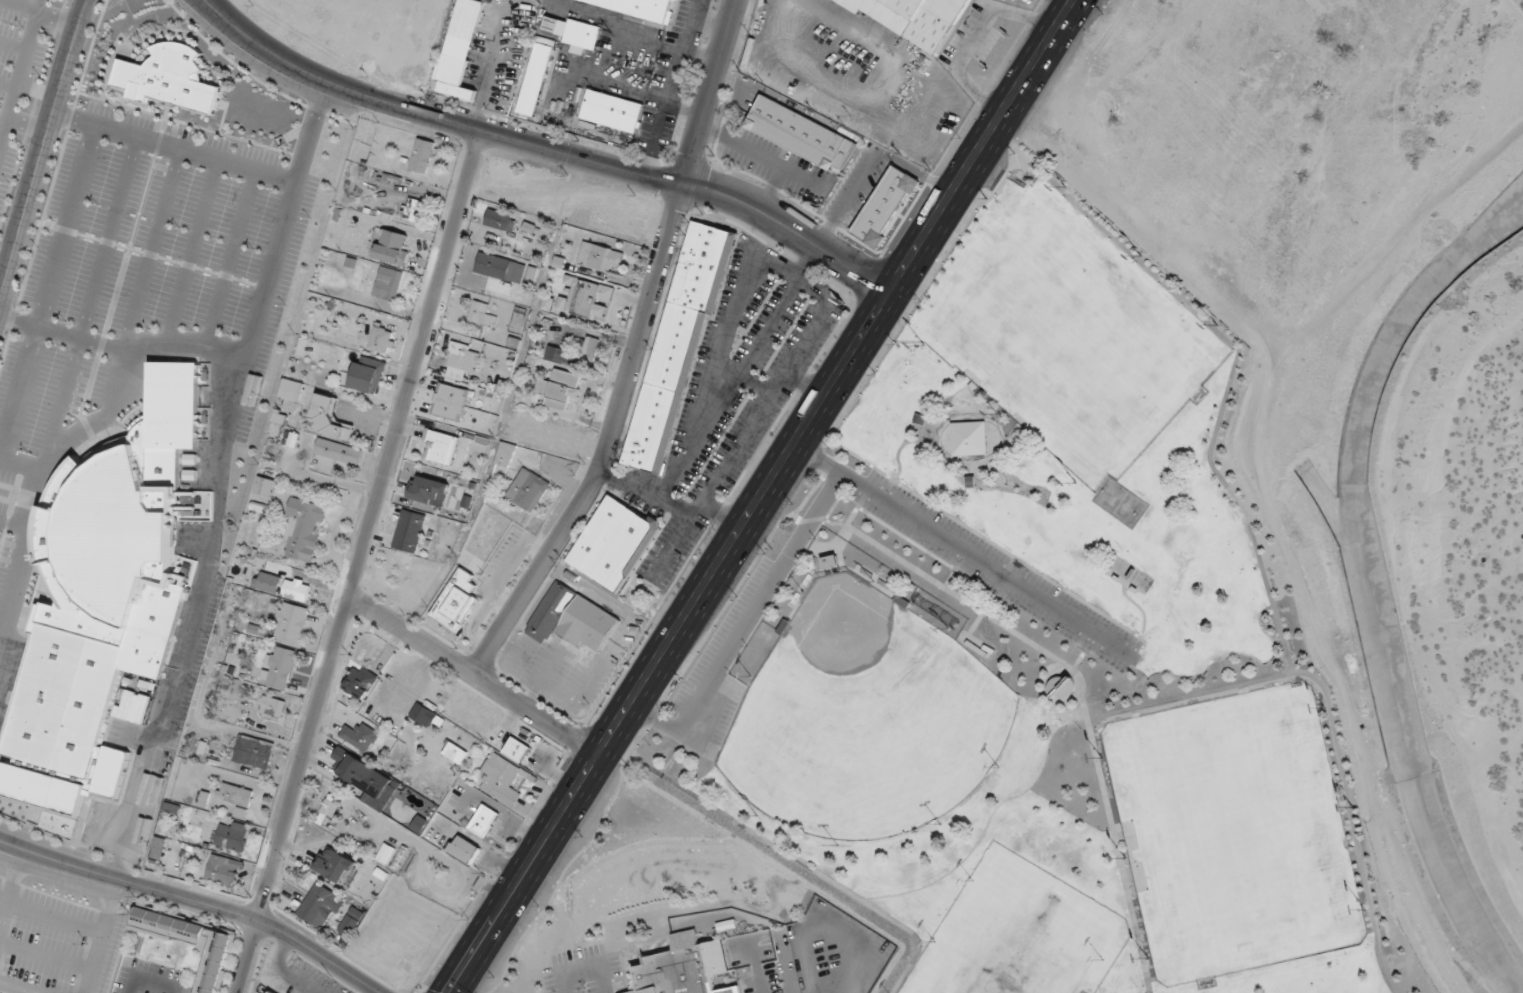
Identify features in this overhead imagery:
building: (641, 7)
building: (915, 19)
road: (707, 25)
building: (575, 32)
road: (973, 38)
building: (459, 51)
road: (699, 54)
road: (672, 68)
building: (536, 75)
building: (170, 78)
road: (710, 91)
road: (776, 95)
building: (612, 110)
road: (312, 124)
road: (713, 133)
building: (800, 133)
road: (547, 147)
road: (752, 150)
road: (43, 152)
building: (422, 155)
road: (773, 188)
building: (414, 209)
building: (500, 219)
building: (393, 247)
building: (600, 257)
building: (500, 268)
building: (388, 283)
road: (920, 292)
building: (586, 298)
park: (1042, 304)
building: (481, 314)
building: (382, 339)
building: (678, 347)
building: (589, 349)
building: (555, 354)
park: (1129, 355)
building: (462, 360)
building: (367, 374)
building: (560, 388)
building: (292, 390)
road: (979, 398)
road: (984, 414)
road: (943, 416)
building: (330, 418)
road: (945, 420)
road: (1029, 426)
road: (1000, 429)
building: (291, 439)
road: (611, 442)
road: (902, 444)
building: (443, 447)
building: (338, 451)
building: (506, 454)
road: (971, 469)
building: (265, 487)
building: (429, 490)
building: (528, 490)
road: (763, 496)
park: (1121, 502)
road: (1246, 516)
road: (797, 521)
road: (217, 526)
building: (304, 530)
building: (409, 531)
road: (973, 532)
road: (907, 535)
building: (613, 544)
road: (967, 552)
road: (356, 560)
building: (830, 561)
road: (954, 568)
parking lot: (997, 570)
building: (269, 582)
road: (941, 584)
building: (297, 588)
building: (108, 593)
building: (458, 601)
road: (1141, 608)
building: (572, 618)
building: (291, 622)
road: (976, 622)
road: (742, 629)
road: (1085, 649)
building: (279, 668)
road: (475, 673)
building: (361, 682)
building: (1060, 685)
road: (1044, 688)
park: (1003, 690)
road: (1189, 695)
building: (271, 707)
road: (652, 715)
building: (425, 716)
park: (865, 718)
building: (360, 736)
building: (517, 749)
building: (253, 751)
building: (455, 752)
building: (349, 764)
park: (1228, 766)
building: (501, 778)
building: (235, 797)
building: (484, 820)
road: (1157, 832)
building: (232, 835)
road: (1115, 842)
building: (464, 849)
road: (1139, 852)
road: (800, 861)
building: (334, 864)
building: (224, 870)
park: (1252, 874)
road: (127, 882)
building: (319, 905)
building: (351, 921)
road: (101, 936)
park: (1019, 941)
road: (318, 954)
road: (580, 966)
building: (685, 967)
road: (283, 970)
road: (603, 977)
road: (563, 981)
road: (145, 984)
building: (271, 991)
road: (377, 992)

